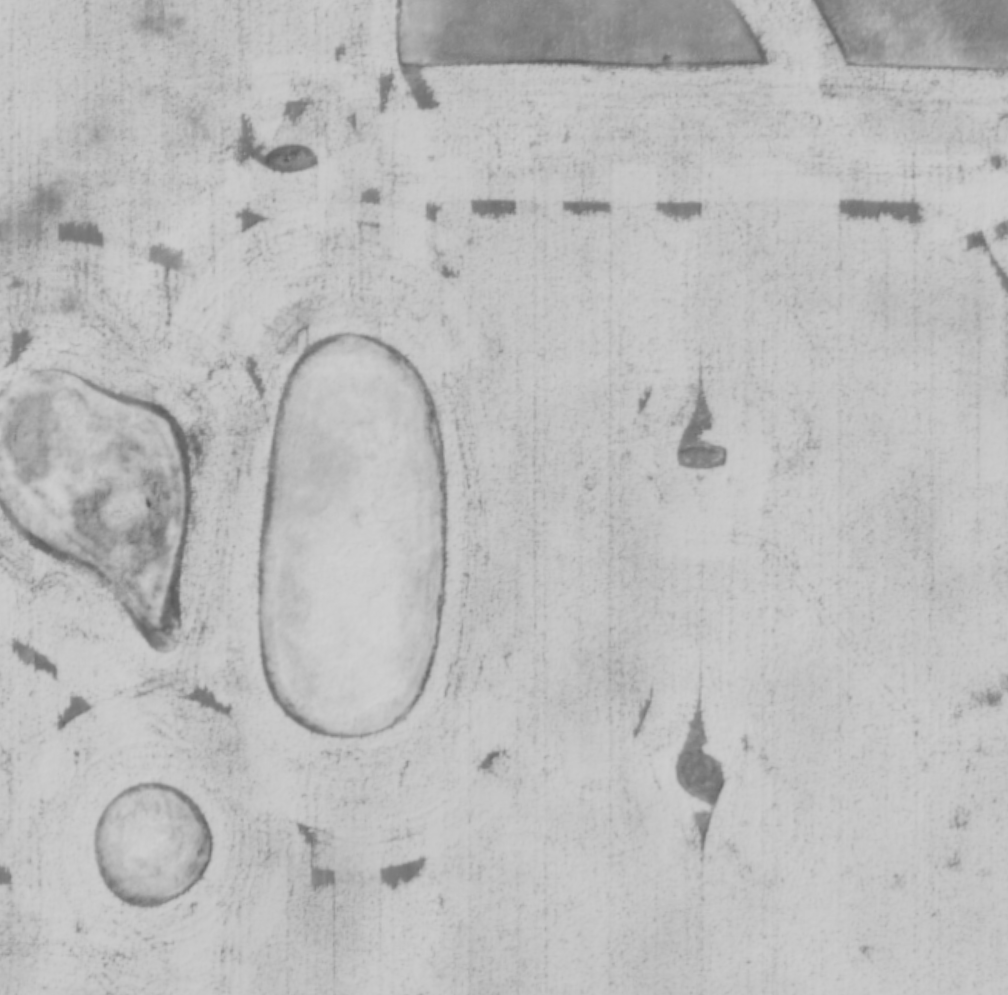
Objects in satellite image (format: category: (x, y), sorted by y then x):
road: (520, 707)

